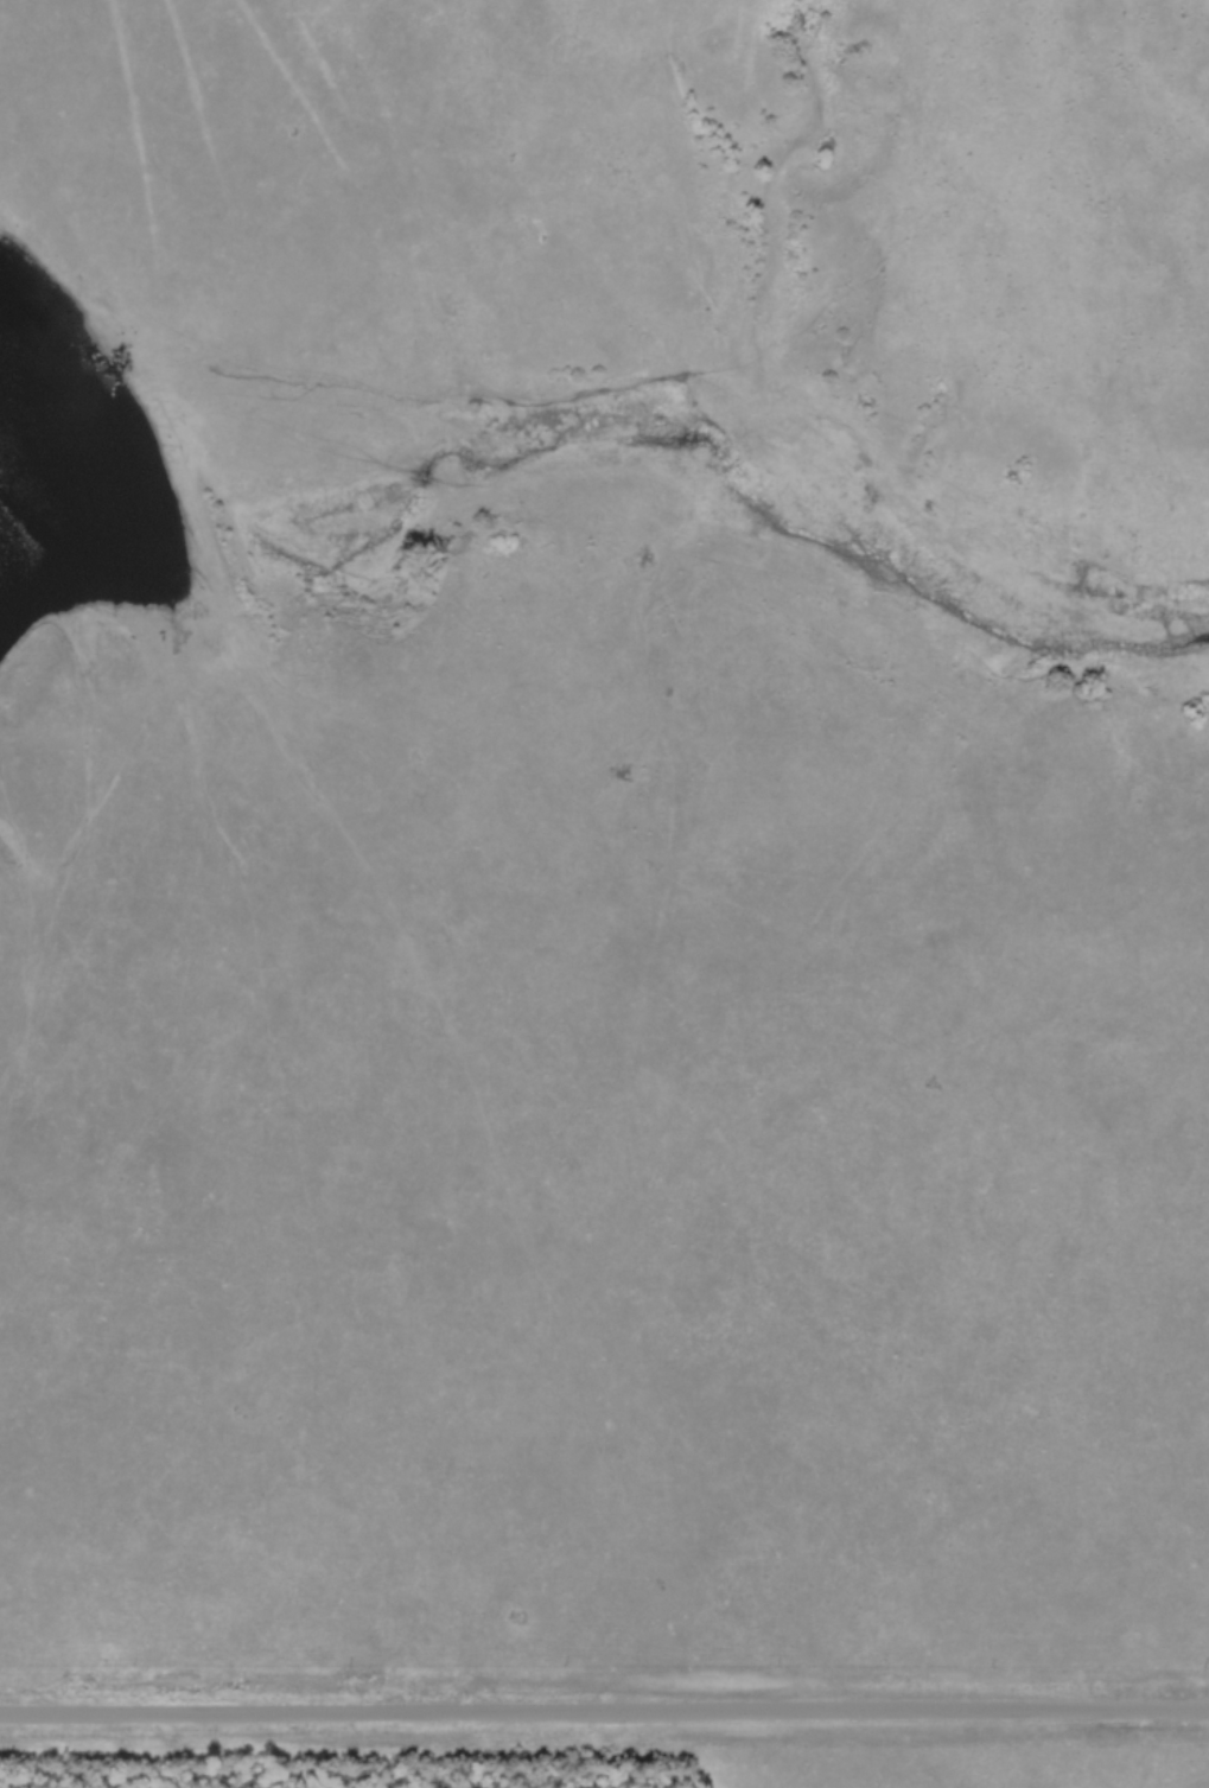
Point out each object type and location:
road: (604, 1698)

